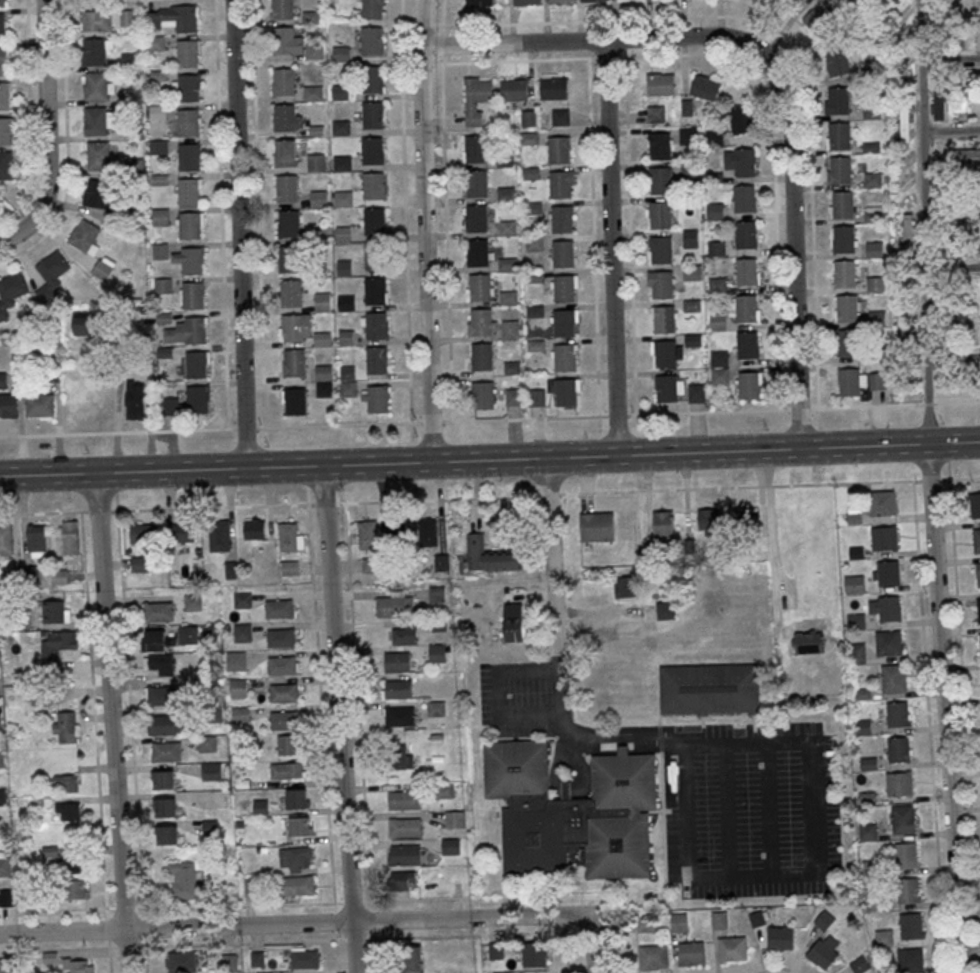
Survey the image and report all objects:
building: (559, 0)
building: (590, 0)
building: (779, 0)
building: (526, 1)
building: (479, 2)
building: (2, 3)
building: (283, 8)
building: (373, 9)
building: (127, 17)
building: (175, 17)
building: (96, 21)
building: (903, 22)
building: (2, 27)
building: (959, 32)
building: (978, 34)
building: (372, 39)
building: (283, 40)
road: (594, 40)
building: (155, 42)
road: (796, 44)
road: (27, 48)
building: (95, 51)
building: (314, 51)
building: (188, 53)
road: (950, 57)
building: (2, 60)
building: (129, 60)
building: (836, 61)
road: (746, 71)
building: (905, 79)
building: (978, 79)
building: (371, 80)
building: (283, 81)
building: (660, 84)
building: (97, 86)
building: (705, 87)
building: (187, 88)
building: (553, 88)
building: (513, 89)
building: (479, 91)
building: (340, 92)
building: (313, 93)
building: (4, 95)
building: (938, 97)
building: (839, 100)
building: (962, 104)
building: (872, 111)
building: (158, 112)
road: (45, 113)
building: (655, 114)
building: (372, 115)
building: (285, 117)
building: (560, 117)
building: (739, 120)
building: (96, 121)
building: (904, 121)
building: (187, 122)
building: (341, 127)
road: (951, 130)
building: (5, 131)
building: (688, 135)
building: (839, 135)
building: (714, 137)
road: (67, 146)
building: (658, 146)
building: (158, 147)
building: (475, 149)
building: (559, 150)
building: (372, 151)
building: (285, 153)
building: (965, 154)
building: (98, 155)
building: (188, 157)
building: (740, 161)
building: (316, 162)
building: (342, 163)
building: (6, 165)
building: (690, 169)
building: (839, 170)
building: (714, 177)
building: (873, 179)
building: (661, 180)
building: (955, 182)
building: (476, 183)
building: (560, 184)
building: (373, 186)
building: (287, 188)
building: (188, 191)
building: (506, 193)
building: (99, 194)
building: (342, 197)
building: (318, 198)
building: (745, 198)
building: (688, 199)
road: (952, 202)
building: (843, 204)
building: (533, 207)
road: (405, 210)
building: (714, 211)
road: (258, 213)
road: (221, 214)
building: (873, 214)
building: (659, 215)
building: (160, 217)
building: (477, 217)
building: (562, 219)
building: (375, 220)
road: (924, 221)
building: (977, 223)
building: (289, 224)
building: (190, 225)
building: (508, 228)
road: (424, 230)
building: (907, 231)
road: (16, 232)
road: (239, 233)
building: (319, 234)
building: (343, 234)
building: (745, 234)
road: (630, 235)
road: (593, 236)
building: (86, 237)
building: (692, 238)
building: (843, 239)
road: (447, 242)
building: (534, 244)
road: (611, 247)
building: (716, 248)
building: (968, 248)
road: (794, 249)
building: (874, 249)
building: (661, 250)
building: (160, 251)
building: (477, 253)
building: (562, 253)
building: (376, 255)
building: (289, 259)
building: (193, 260)
building: (507, 263)
building: (344, 268)
road: (952, 268)
building: (102, 270)
building: (692, 272)
building: (747, 272)
building: (845, 273)
building: (51, 275)
building: (534, 276)
building: (875, 283)
building: (662, 284)
building: (163, 285)
building: (718, 285)
building: (480, 286)
building: (564, 288)
building: (375, 290)
building: (11, 292)
building: (290, 293)
building: (193, 295)
building: (507, 297)
building: (323, 302)
building: (345, 302)
building: (692, 305)
building: (847, 308)
building: (745, 309)
building: (535, 311)
building: (909, 313)
building: (877, 317)
building: (664, 319)
building: (718, 321)
building: (480, 322)
building: (85, 323)
building: (564, 323)
building: (377, 325)
building: (296, 327)
building: (195, 329)
building: (510, 330)
building: (969, 332)
building: (346, 336)
building: (322, 338)
building: (692, 340)
building: (847, 343)
building: (747, 345)
building: (665, 353)
building: (481, 356)
building: (564, 357)
building: (719, 358)
building: (376, 360)
building: (294, 362)
building: (197, 364)
building: (512, 367)
building: (324, 372)
building: (720, 375)
building: (3, 380)
building: (878, 380)
building: (848, 382)
building: (748, 385)
building: (347, 388)
building: (666, 388)
building: (324, 389)
building: (565, 392)
building: (696, 393)
building: (484, 395)
building: (513, 397)
building: (536, 397)
building: (137, 399)
building: (197, 399)
building: (377, 399)
building: (296, 401)
building: (9, 405)
building: (40, 405)
road: (504, 419)
road: (14, 435)
road: (490, 459)
road: (835, 482)
road: (345, 501)
building: (882, 502)
building: (975, 504)
building: (740, 517)
building: (710, 519)
building: (591, 524)
building: (663, 524)
building: (252, 529)
building: (184, 532)
building: (395, 532)
building: (426, 532)
building: (144, 533)
building: (367, 534)
building: (219, 535)
building: (70, 536)
building: (290, 536)
building: (883, 538)
building: (6, 540)
building: (37, 540)
building: (976, 540)
building: (489, 556)
road: (556, 561)
building: (139, 564)
building: (290, 567)
building: (888, 572)
building: (978, 574)
building: (855, 584)
building: (625, 586)
building: (242, 600)
building: (395, 604)
building: (279, 608)
building: (889, 608)
building: (978, 610)
building: (56, 611)
building: (158, 611)
building: (666, 611)
building: (856, 621)
building: (514, 622)
building: (242, 632)
building: (404, 634)
building: (188, 635)
building: (281, 637)
building: (155, 640)
building: (809, 642)
building: (888, 643)
building: (58, 644)
building: (979, 645)
building: (437, 652)
building: (857, 653)
building: (236, 660)
building: (397, 662)
building: (159, 664)
building: (283, 665)
building: (893, 678)
building: (238, 688)
building: (397, 689)
building: (284, 692)
building: (708, 692)
building: (161, 695)
road: (494, 696)
building: (436, 708)
road: (944, 708)
road: (964, 712)
building: (897, 713)
building: (399, 716)
road: (339, 718)
building: (285, 719)
road: (111, 722)
building: (165, 724)
building: (65, 726)
road: (928, 726)
road: (359, 737)
road: (323, 738)
road: (133, 740)
road: (95, 741)
building: (207, 743)
building: (289, 745)
building: (898, 749)
building: (165, 751)
building: (400, 757)
building: (1, 760)
building: (287, 770)
building: (211, 771)
building: (162, 779)
road: (812, 781)
building: (67, 782)
building: (899, 783)
building: (443, 790)
building: (297, 798)
building: (403, 799)
building: (164, 807)
building: (67, 810)
road: (766, 810)
building: (572, 811)
road: (724, 811)
building: (454, 819)
building: (903, 819)
building: (301, 826)
building: (209, 827)
building: (404, 827)
building: (867, 832)
building: (166, 834)
building: (450, 846)
building: (404, 855)
building: (906, 855)
building: (293, 858)
building: (75, 864)
building: (4, 866)
building: (183, 880)
building: (403, 880)
building: (297, 885)
building: (77, 889)
building: (907, 890)
building: (7, 897)
road: (260, 903)
building: (719, 919)
building: (679, 922)
road: (292, 923)
building: (646, 923)
building: (910, 925)
road: (619, 934)
building: (780, 937)
building: (883, 937)
road: (302, 939)
road: (590, 946)
building: (732, 948)
building: (824, 950)
building: (690, 953)
building: (534, 954)
building: (653, 956)
building: (304, 957)
building: (412, 958)
building: (910, 960)
building: (182, 962)
building: (859, 964)
building: (5, 965)
building: (77, 965)
road: (777, 967)
building: (270, 972)

